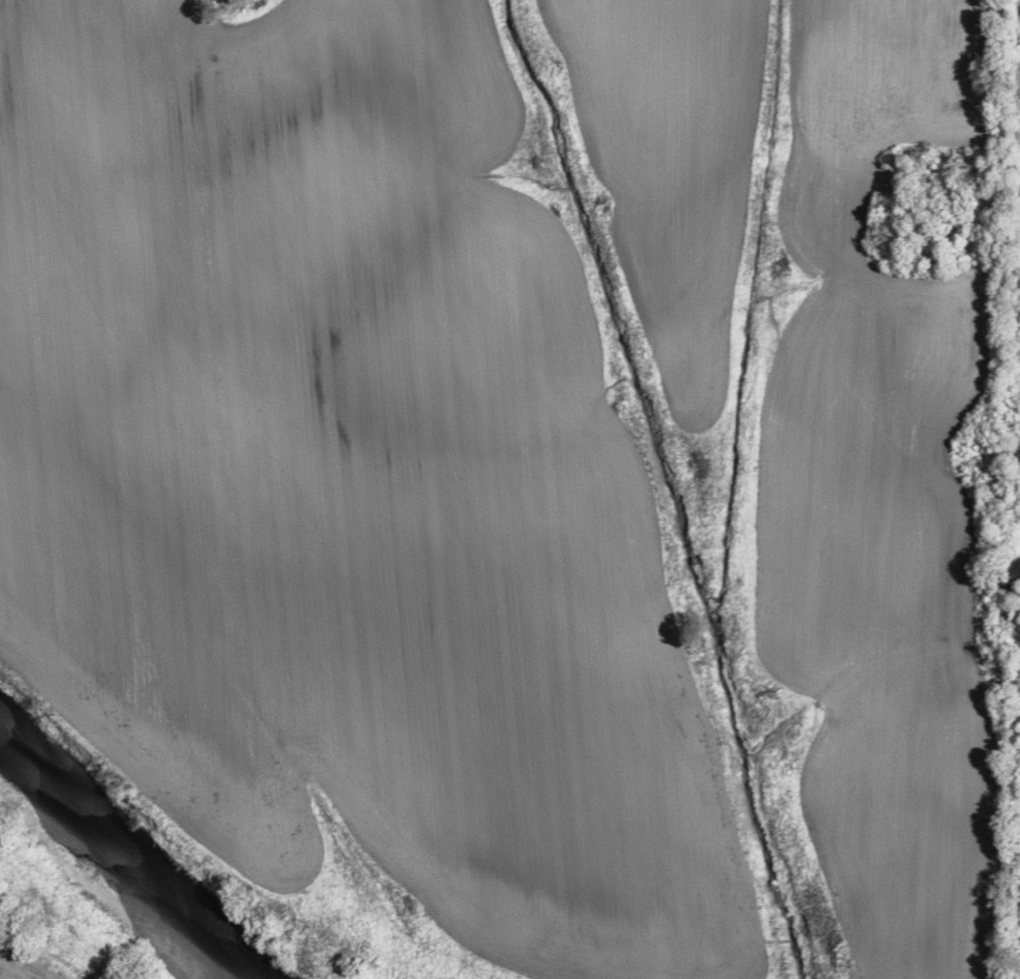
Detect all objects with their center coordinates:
river: (123, 870)

